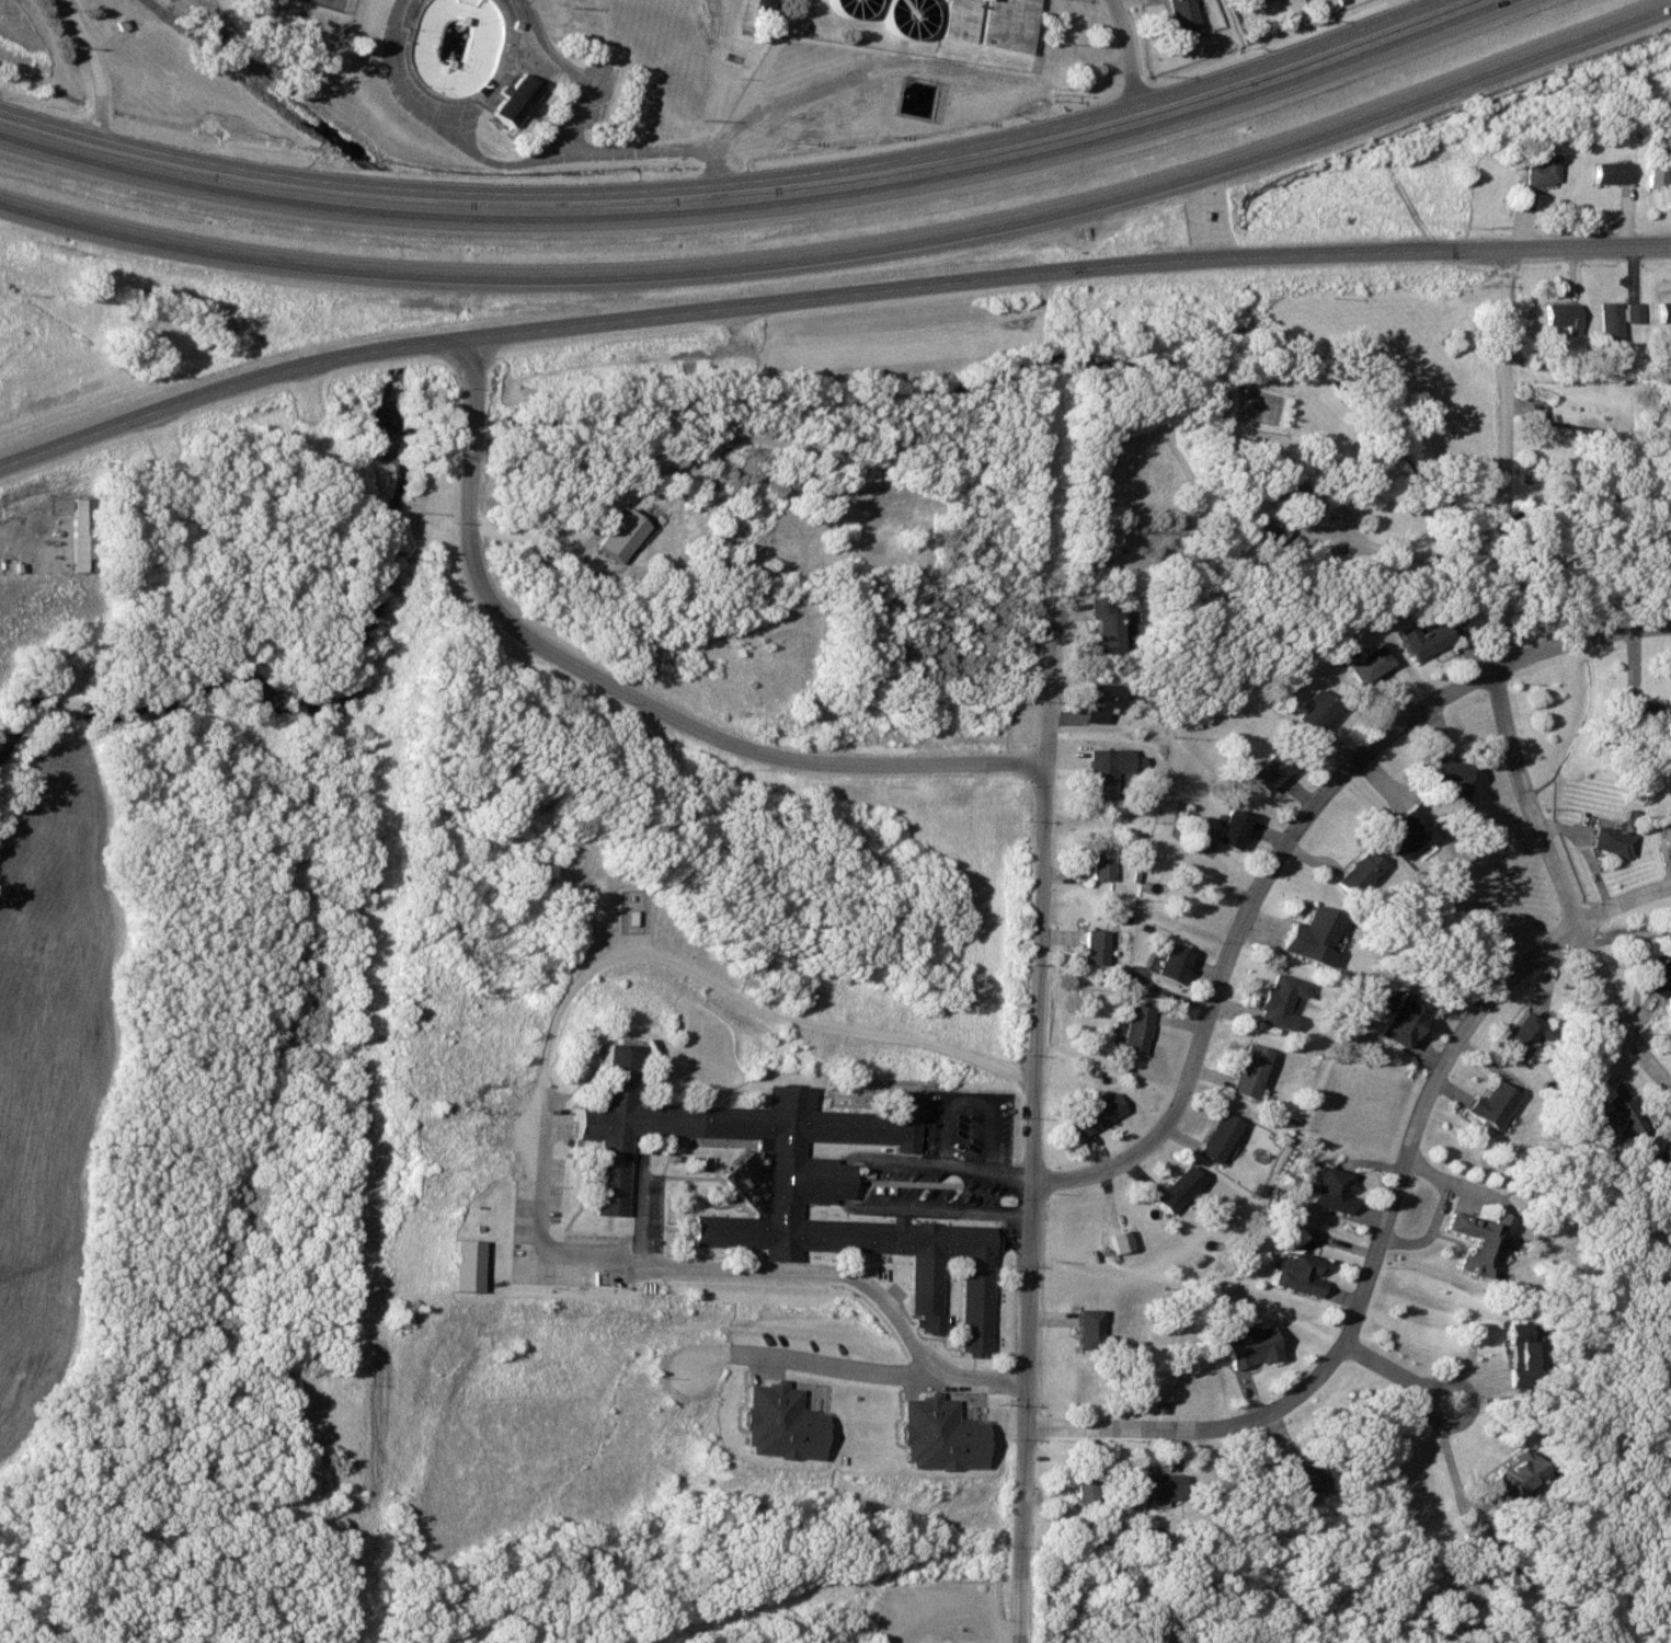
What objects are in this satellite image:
building: (1255, 0)
park: (330, 4)
building: (765, 7)
building: (855, 7)
silo: (855, 7)
building: (914, 15)
silo: (914, 15)
building: (1181, 18)
building: (961, 20)
building: (1007, 26)
park: (603, 31)
building: (455, 46)
road: (1128, 48)
road: (98, 67)
building: (514, 102)
building: (1530, 169)
building: (1607, 172)
building: (1655, 176)
road: (730, 192)
road: (772, 212)
road: (850, 251)
road: (825, 297)
building: (1663, 311)
building: (1632, 312)
building: (1558, 315)
building: (1607, 320)
road: (1507, 460)
building: (1292, 489)
road: (1348, 515)
building: (619, 536)
building: (1098, 624)
building: (1421, 640)
building: (1364, 664)
road: (623, 694)
building: (1097, 702)
river: (329, 706)
building: (1312, 709)
building: (1639, 713)
building: (1266, 773)
building: (1444, 773)
building: (1095, 774)
building: (1233, 830)
building: (1409, 831)
building: (1664, 835)
road: (1044, 842)
building: (1611, 842)
building: (1099, 864)
building: (1354, 873)
road: (1563, 889)
road: (1260, 891)
building: (1307, 937)
building: (1092, 946)
building: (1171, 964)
building: (1661, 977)
building: (1275, 998)
building: (1398, 1021)
building: (1134, 1030)
building: (1522, 1036)
building: (1247, 1071)
building: (1489, 1104)
road: (547, 1107)
building: (1620, 1110)
building: (1094, 1115)
building: (640, 1125)
building: (1217, 1137)
building: (772, 1154)
building: (1663, 1156)
building: (1177, 1188)
building: (1328, 1190)
road: (1384, 1228)
building: (1119, 1242)
building: (1479, 1243)
building: (461, 1265)
building: (1297, 1273)
building: (978, 1278)
building: (1083, 1329)
building: (1248, 1347)
building: (1519, 1354)
road: (815, 1355)
road: (1383, 1366)
road: (1007, 1381)
road: (1028, 1411)
road: (1451, 1426)
building: (1509, 1477)
building: (1305, 1482)
building: (1153, 1487)
building: (1084, 1492)

